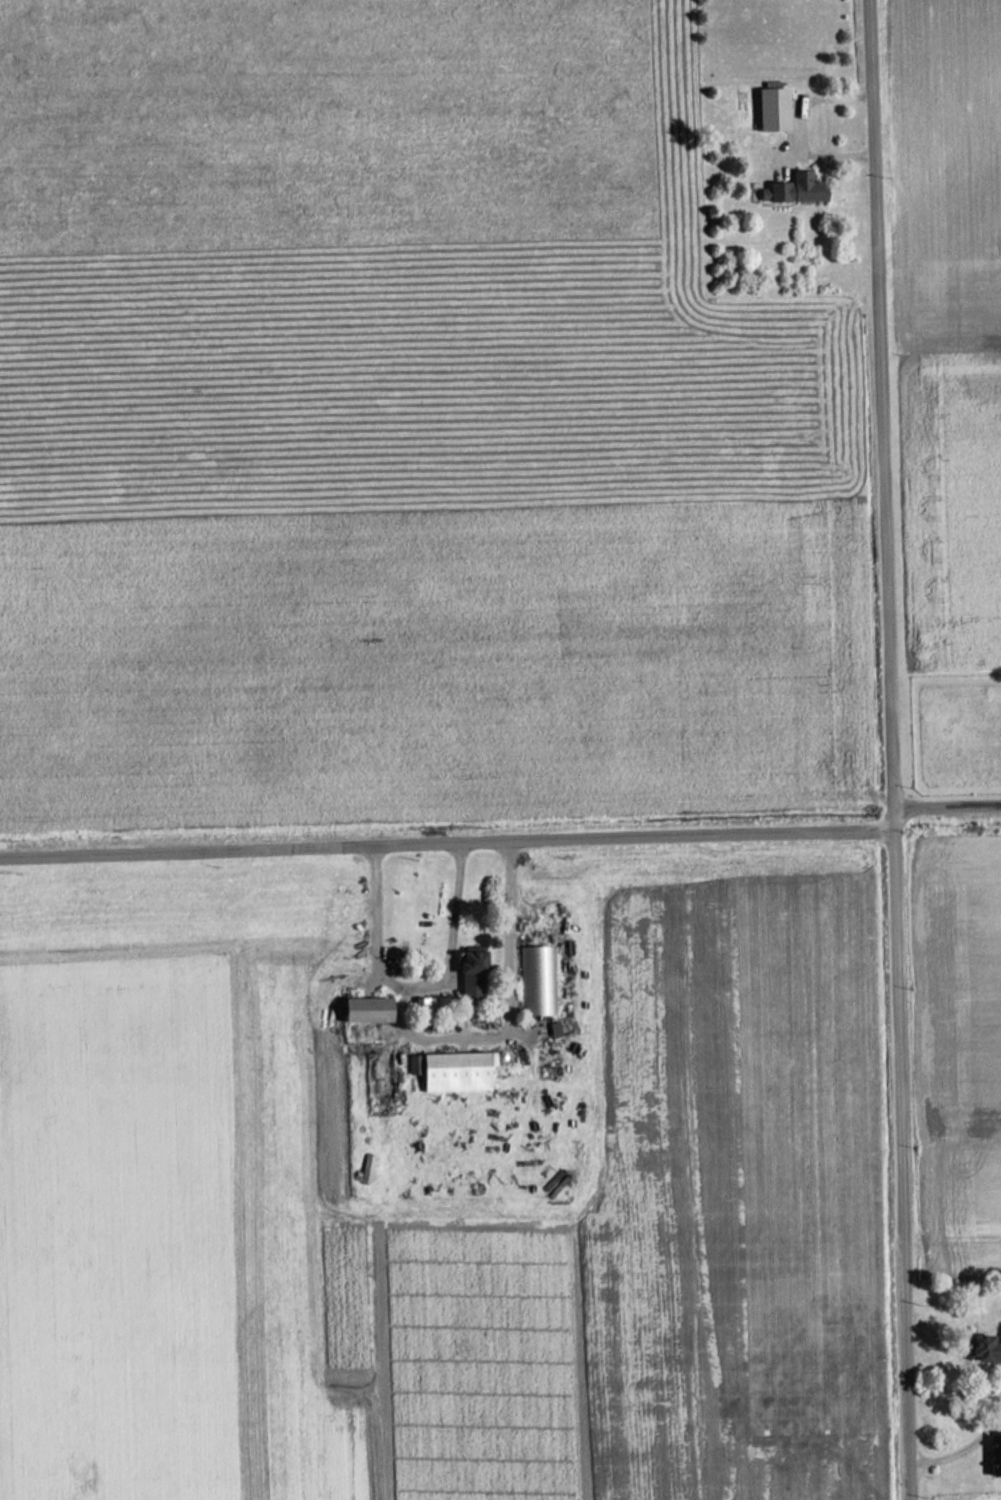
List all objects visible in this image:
building: (772, 108)
road: (895, 749)
road: (948, 800)
road: (453, 840)
building: (472, 972)
building: (536, 981)
building: (369, 1011)
crop: (966, 1046)
building: (451, 1072)
building: (366, 1168)
crop: (734, 1200)
crop: (167, 1243)
building: (985, 1350)
building: (996, 1456)

